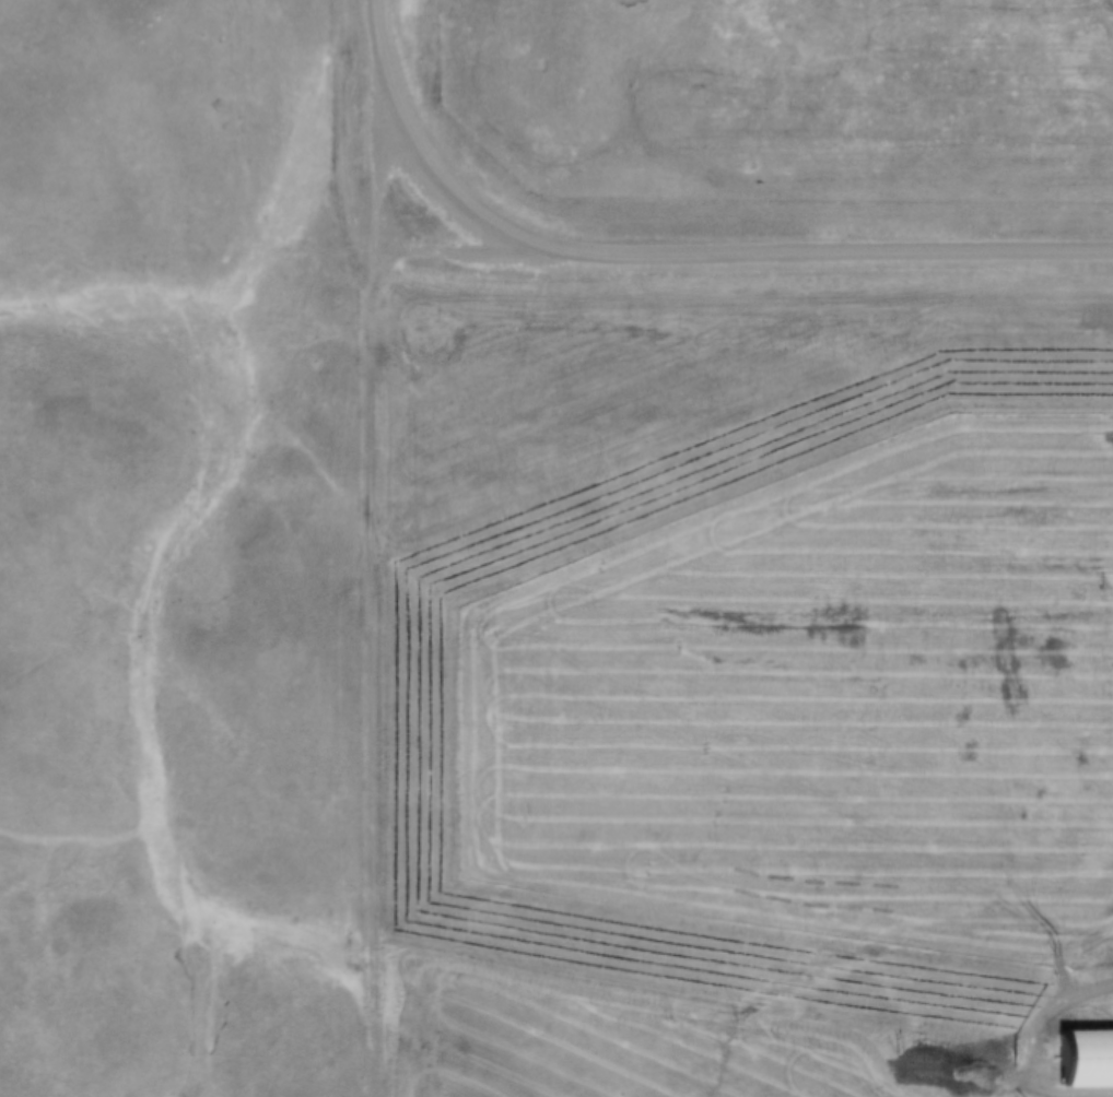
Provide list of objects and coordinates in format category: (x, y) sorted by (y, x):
road: (377, 35)
road: (705, 249)
road: (382, 583)

